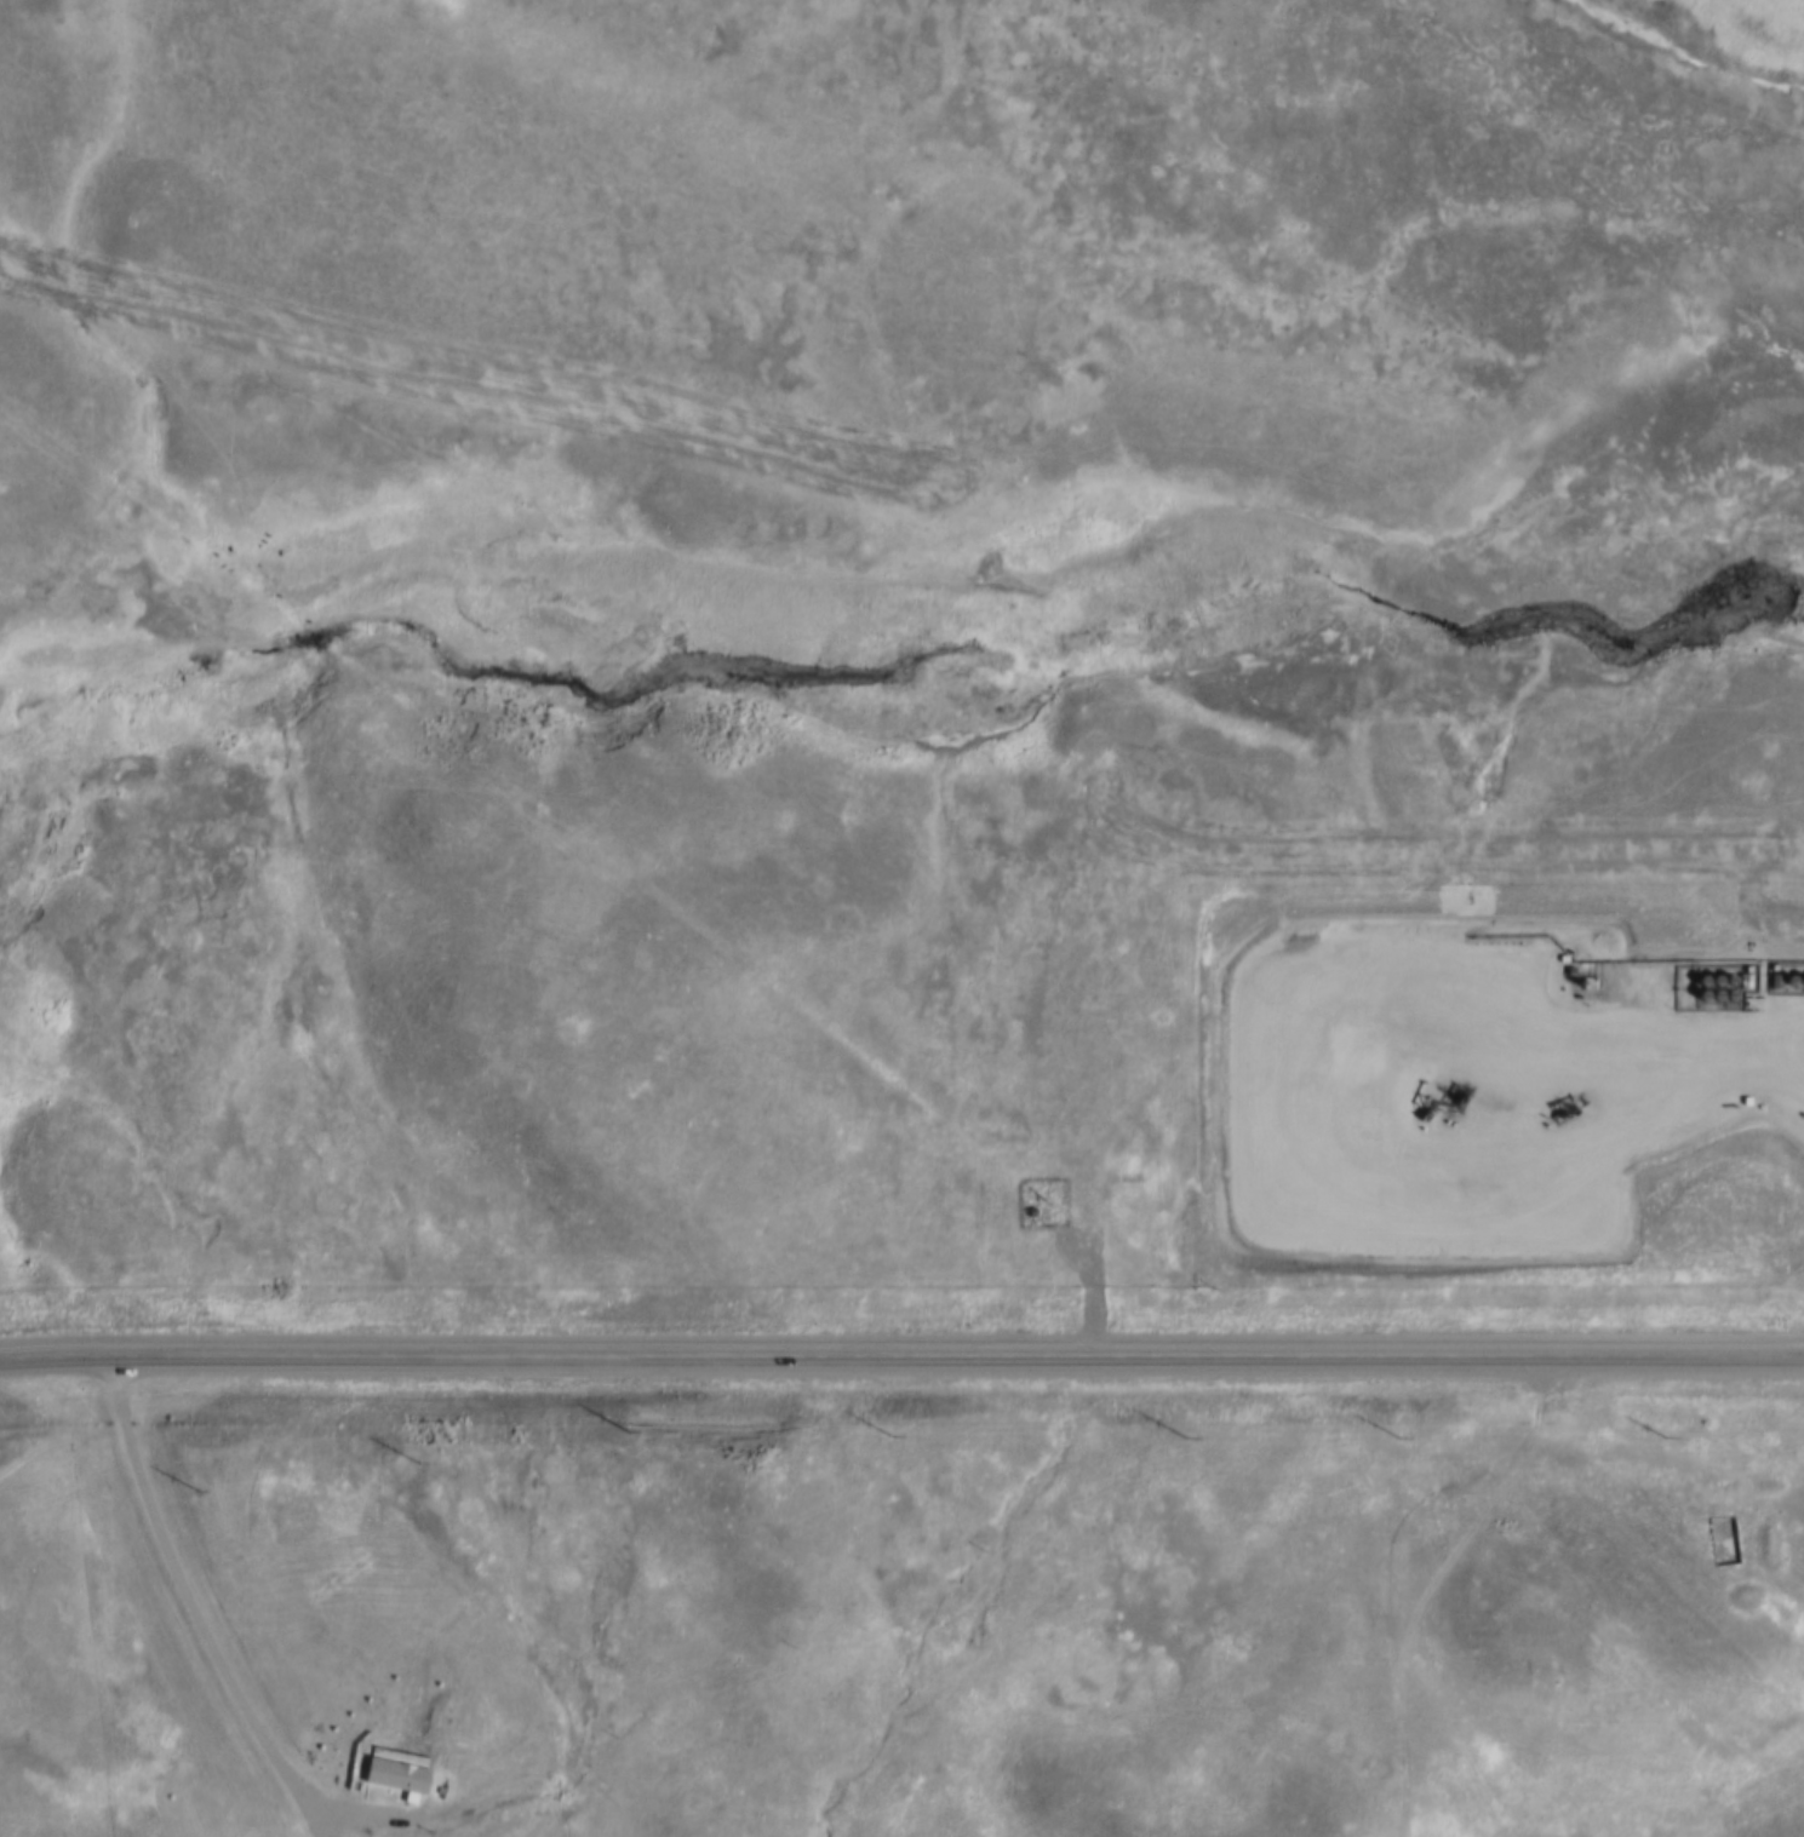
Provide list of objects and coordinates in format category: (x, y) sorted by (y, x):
building: (1787, 980)
storage tank: (1787, 980)
building: (1800, 980)
storage tank: (1800, 980)
building: (1699, 981)
storage tank: (1699, 981)
building: (1713, 982)
storage tank: (1713, 982)
building: (1728, 982)
storage tank: (1728, 982)
building: (1728, 995)
storage tank: (1728, 995)
building: (1714, 997)
storage tank: (1714, 997)
building: (1697, 998)
storage tank: (1697, 998)
road: (1769, 1033)
road: (1769, 1068)
petroleum well: (1428, 1096)
petroleum well: (1454, 1096)
petroleum well: (1560, 1106)
road: (1402, 1132)
road: (901, 1361)
building: (1722, 1540)
road: (1403, 1562)
road: (195, 1591)
building: (394, 1770)

